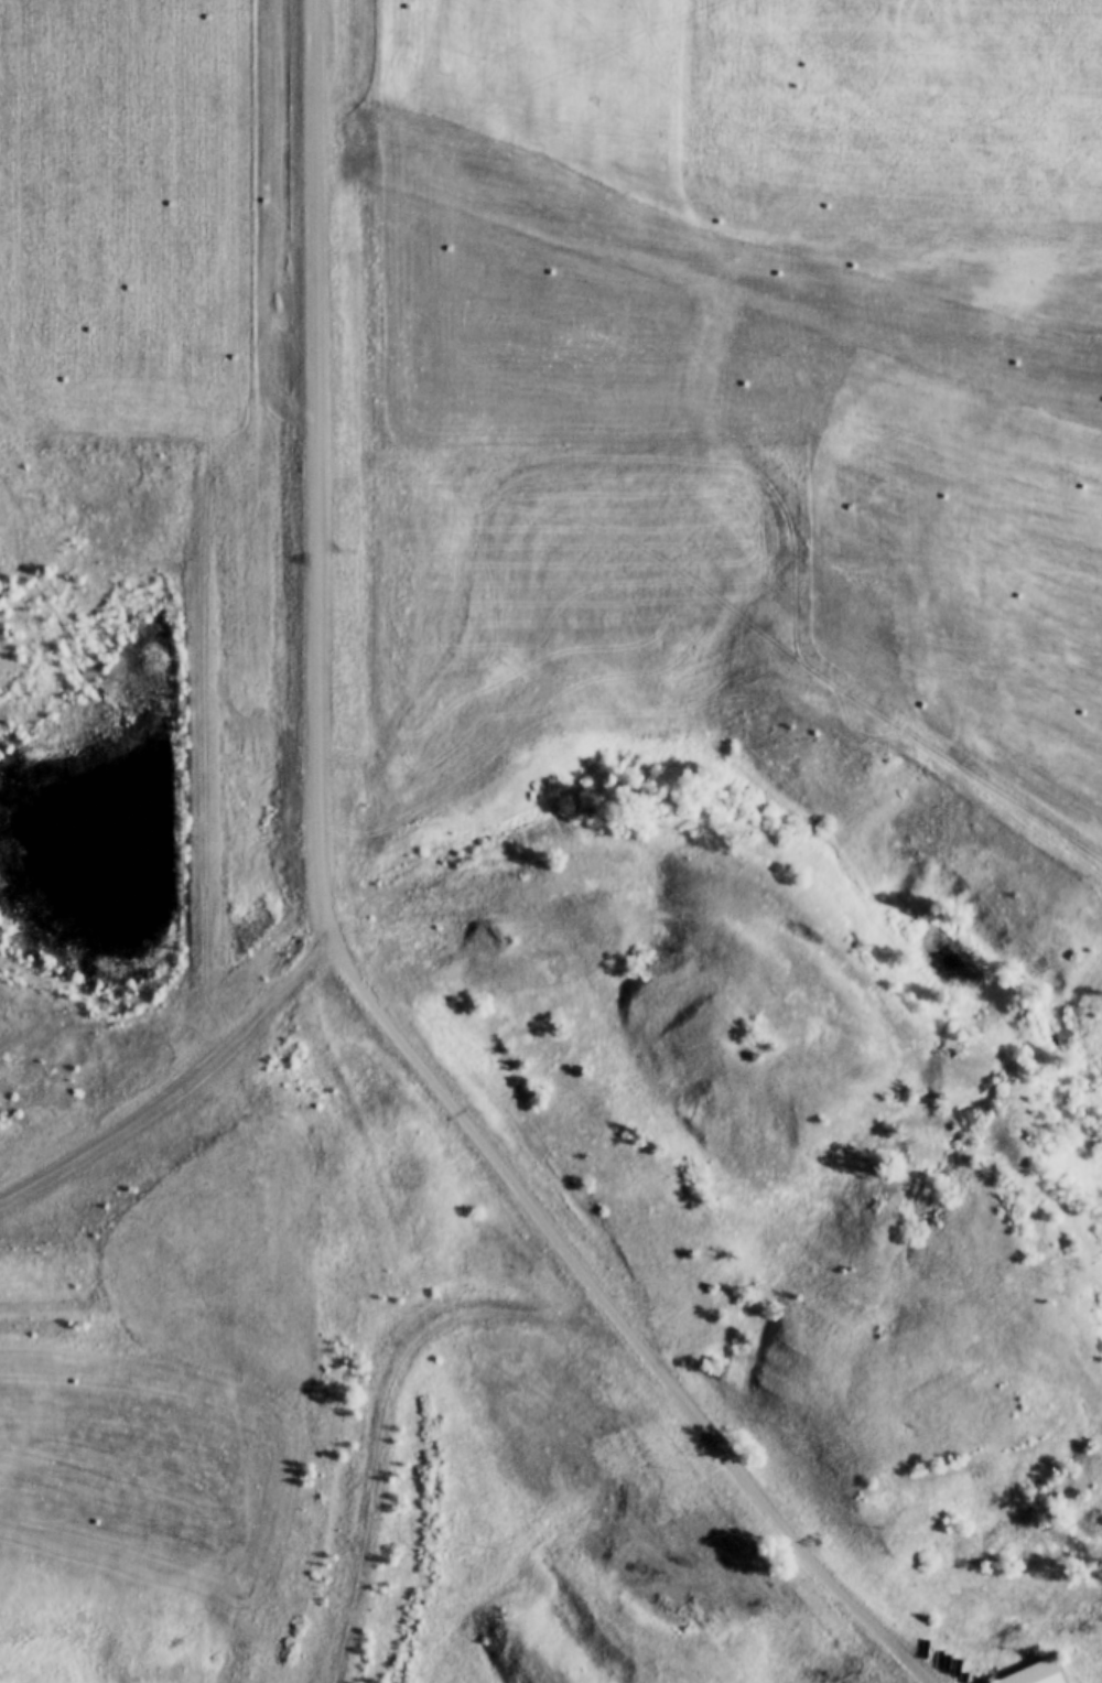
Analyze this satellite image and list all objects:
quarry: (433, 392)
road: (45, 1155)
road: (564, 1320)
building: (1036, 1674)

